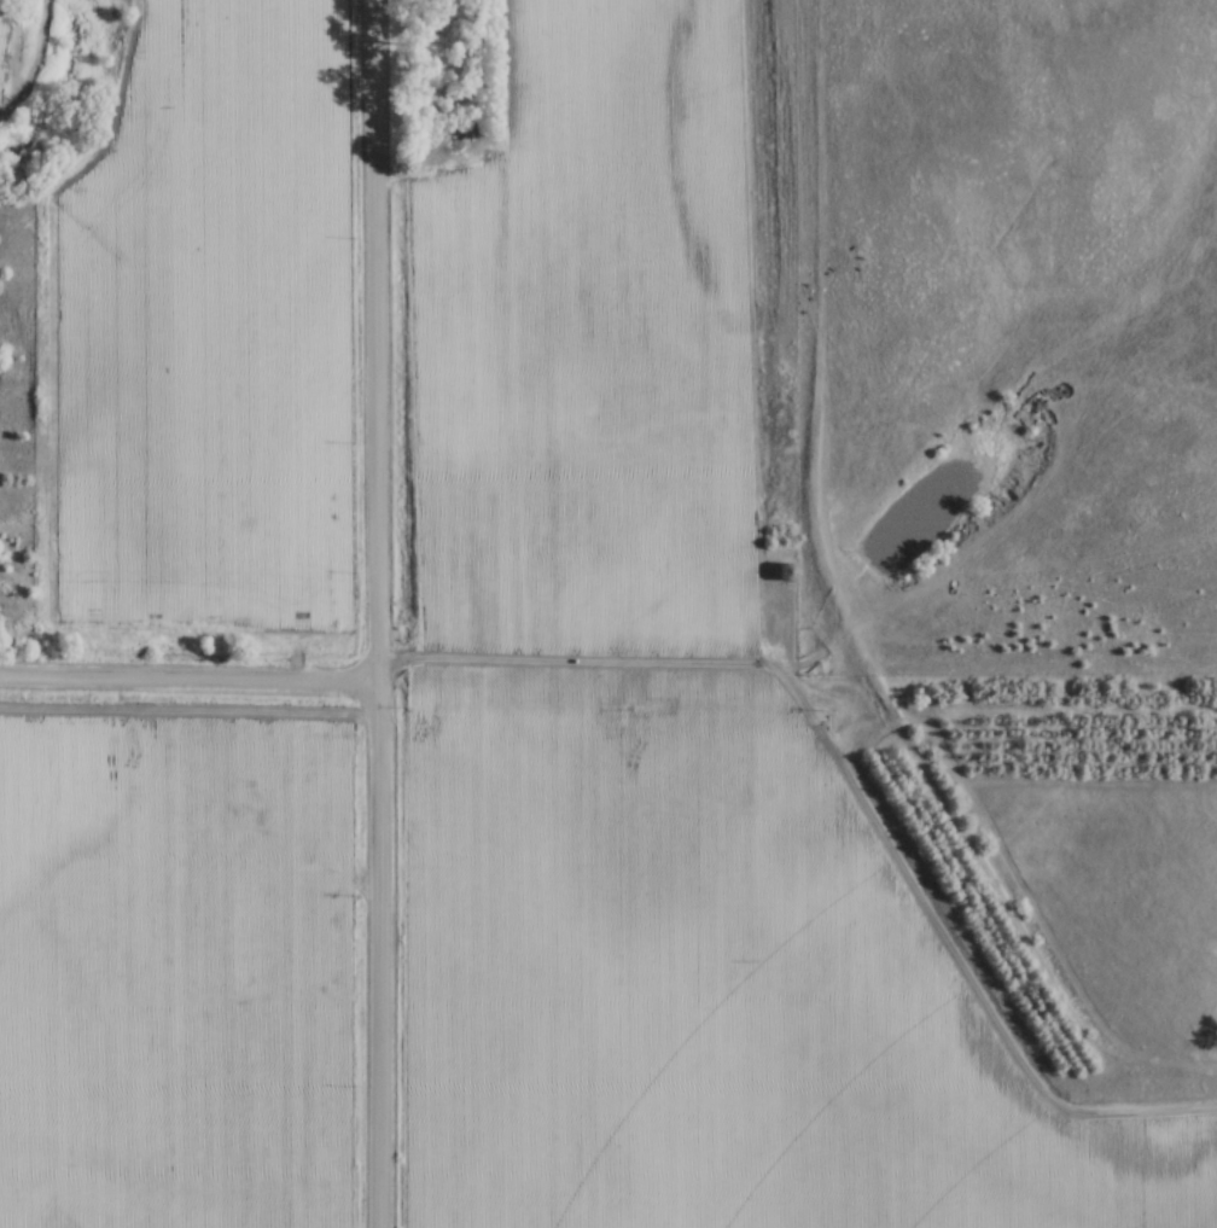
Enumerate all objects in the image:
road: (378, 341)
silo: (784, 571)
building: (784, 574)
road: (188, 677)
crop: (658, 733)
road: (380, 954)
crop: (174, 966)

